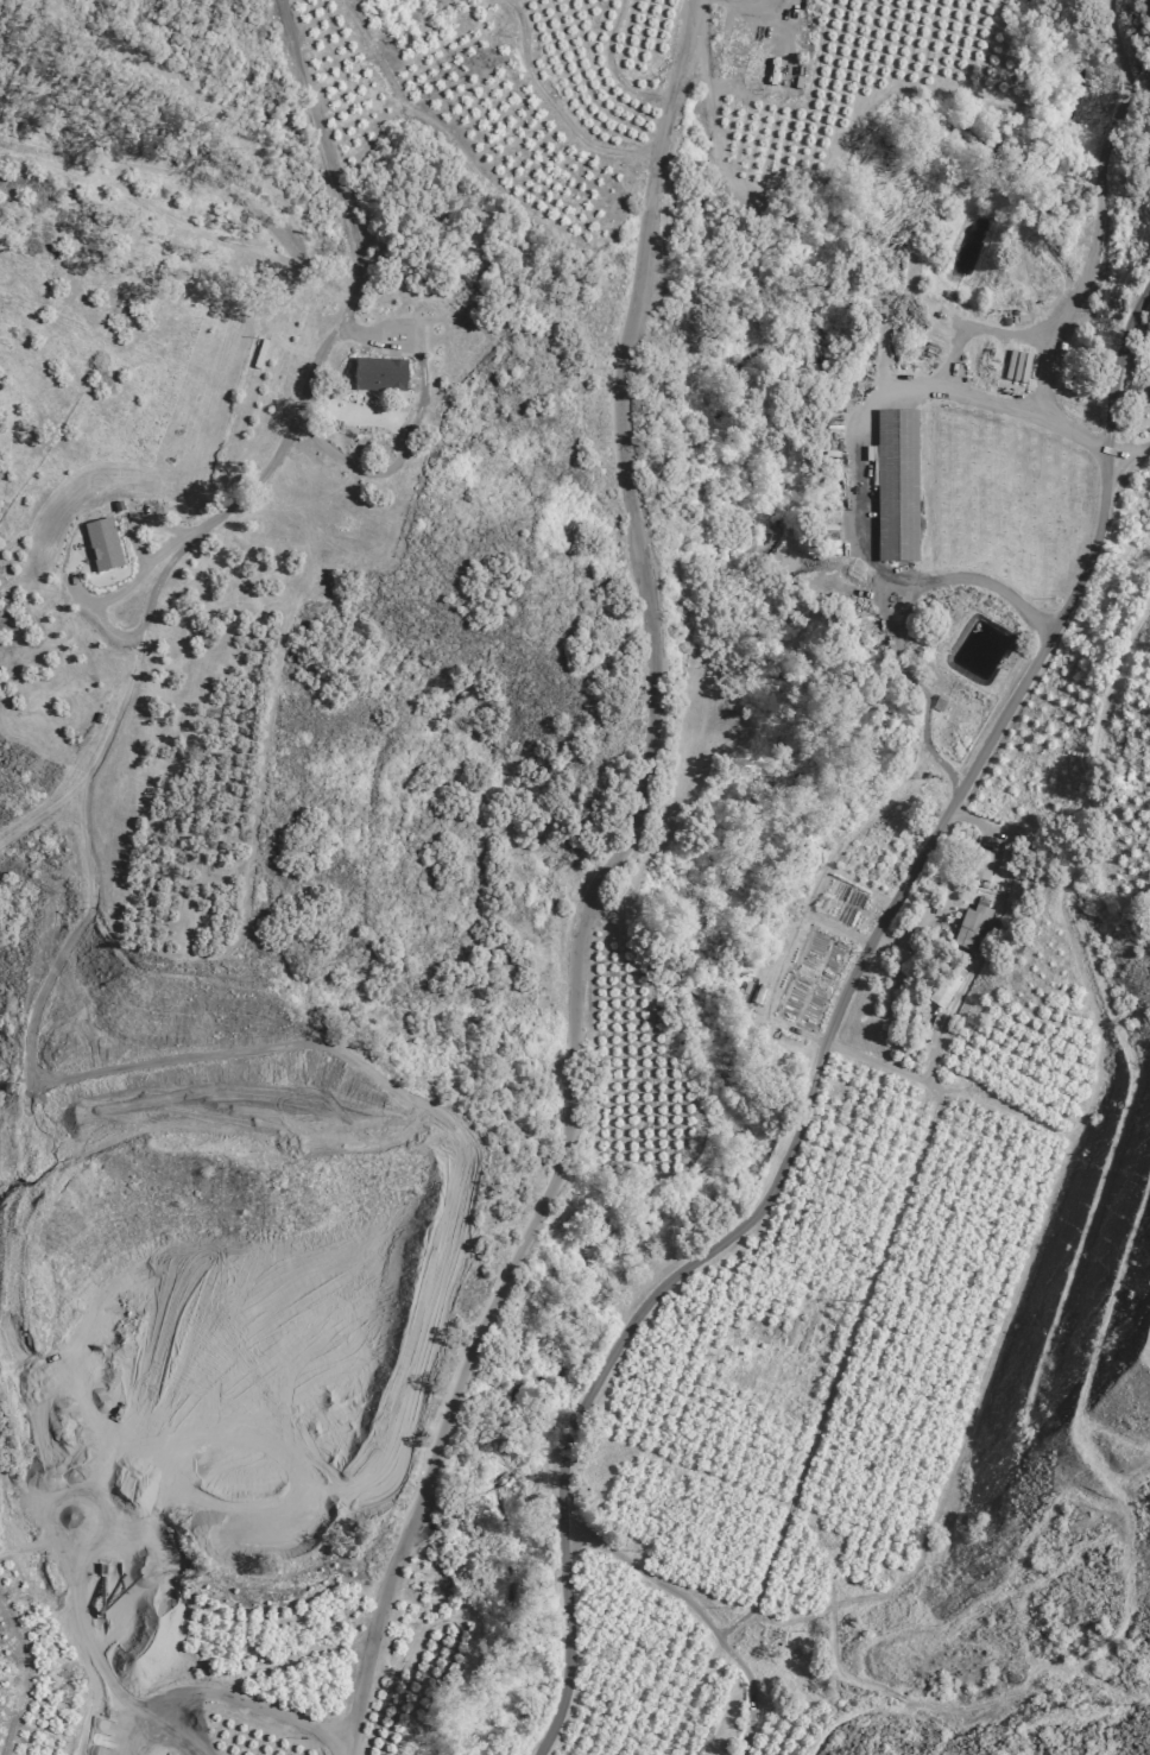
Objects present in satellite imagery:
road: (360, 244)
building: (383, 374)
building: (346, 419)
building: (901, 485)
building: (107, 545)
road: (141, 631)
building: (985, 867)
road: (594, 886)
building: (974, 929)
building: (946, 990)
road: (832, 1027)

